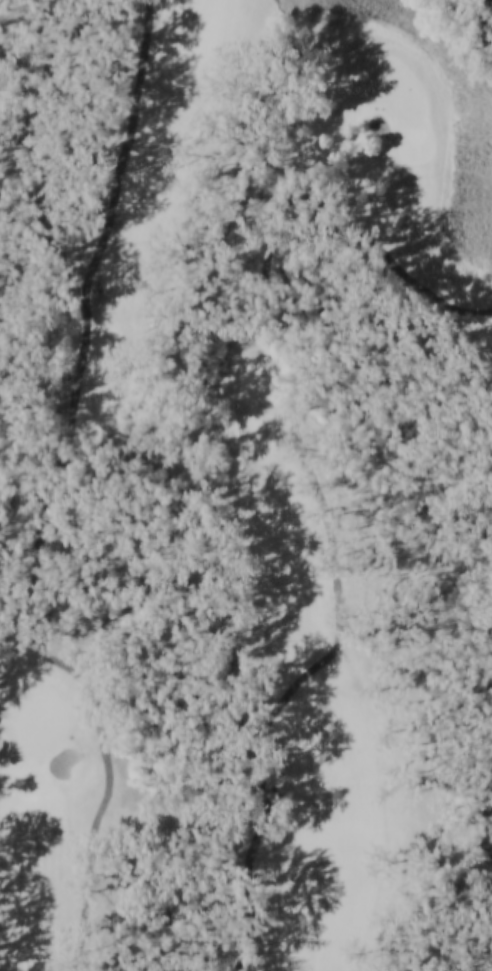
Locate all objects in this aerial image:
park: (249, 492)
road: (52, 498)
road: (329, 517)

